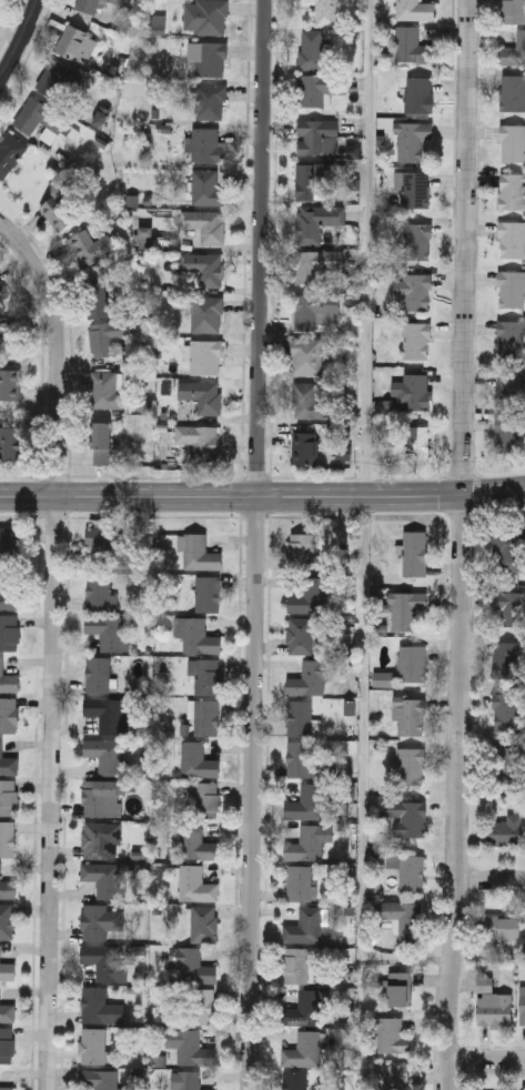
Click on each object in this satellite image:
building: (118, 1)
building: (88, 6)
building: (414, 9)
building: (325, 11)
building: (513, 11)
building: (205, 17)
road: (21, 42)
building: (77, 43)
building: (412, 46)
building: (313, 49)
building: (514, 50)
building: (206, 59)
building: (60, 79)
building: (319, 87)
building: (513, 92)
building: (418, 93)
building: (210, 101)
building: (39, 115)
building: (316, 135)
building: (412, 139)
building: (513, 141)
building: (206, 143)
building: (10, 152)
building: (313, 180)
building: (206, 186)
building: (415, 189)
building: (512, 190)
building: (58, 211)
building: (315, 221)
building: (205, 223)
building: (512, 239)
building: (415, 240)
building: (91, 245)
road: (264, 246)
building: (315, 263)
building: (202, 270)
building: (511, 287)
building: (2, 290)
building: (414, 290)
building: (97, 295)
building: (313, 309)
building: (206, 314)
building: (107, 336)
building: (511, 337)
building: (8, 339)
building: (416, 340)
road: (58, 347)
building: (306, 355)
building: (206, 356)
building: (10, 383)
building: (509, 388)
building: (105, 390)
building: (415, 391)
building: (202, 394)
building: (310, 400)
building: (509, 432)
building: (200, 440)
building: (10, 441)
building: (102, 442)
building: (412, 444)
building: (305, 447)
road: (262, 493)
road: (361, 525)
building: (105, 537)
building: (9, 543)
building: (301, 545)
road: (464, 545)
building: (508, 548)
building: (199, 551)
building: (415, 551)
building: (98, 589)
building: (208, 592)
building: (8, 593)
building: (310, 595)
building: (509, 605)
building: (405, 607)
building: (108, 629)
building: (9, 630)
building: (198, 634)
building: (300, 634)
building: (507, 658)
building: (412, 662)
building: (98, 673)
building: (208, 675)
building: (311, 676)
building: (6, 677)
building: (507, 708)
building: (105, 713)
building: (9, 714)
building: (410, 714)
building: (204, 715)
building: (299, 716)
building: (105, 753)
building: (302, 757)
building: (198, 758)
building: (8, 763)
building: (505, 763)
building: (411, 765)
road: (52, 791)
road: (256, 791)
building: (8, 795)
building: (102, 796)
building: (203, 798)
building: (306, 801)
building: (406, 815)
building: (506, 829)
building: (8, 837)
building: (98, 839)
building: (198, 841)
building: (307, 842)
building: (408, 868)
building: (104, 876)
road: (493, 880)
building: (299, 881)
building: (195, 882)
building: (8, 887)
building: (404, 917)
building: (7, 919)
building: (101, 920)
building: (204, 922)
building: (306, 925)
building: (107, 959)
building: (295, 963)
building: (193, 965)
building: (8, 969)
building: (400, 987)
building: (523, 1002)
building: (202, 1003)
building: (100, 1005)
building: (304, 1007)
building: (495, 1008)
building: (8, 1011)
building: (391, 1032)
building: (7, 1042)
building: (92, 1043)
building: (189, 1044)
building: (303, 1049)
road: (486, 1060)
building: (390, 1074)
building: (99, 1077)
building: (190, 1080)
building: (295, 1080)
building: (7, 1087)

